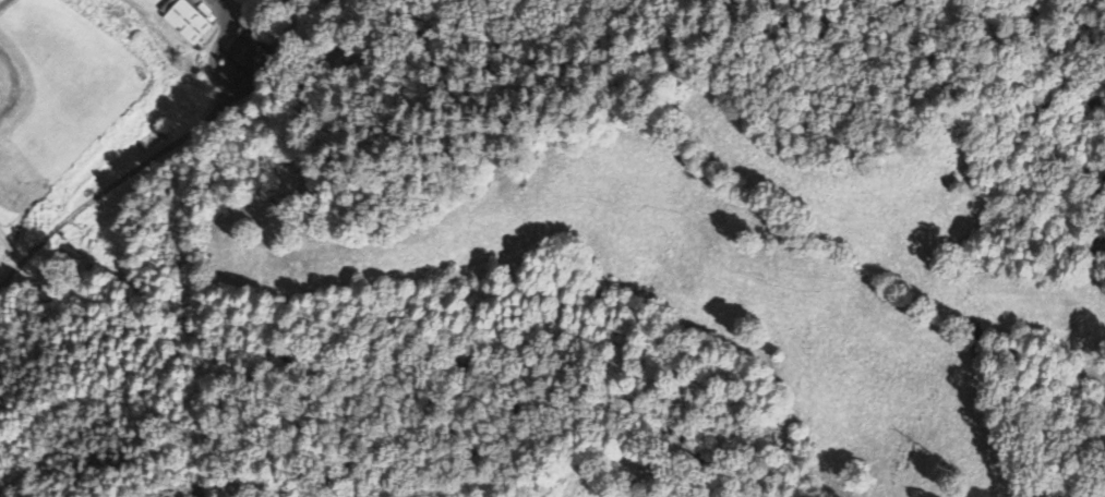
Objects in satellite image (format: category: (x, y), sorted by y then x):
building: (189, 22)
building: (1, 93)

